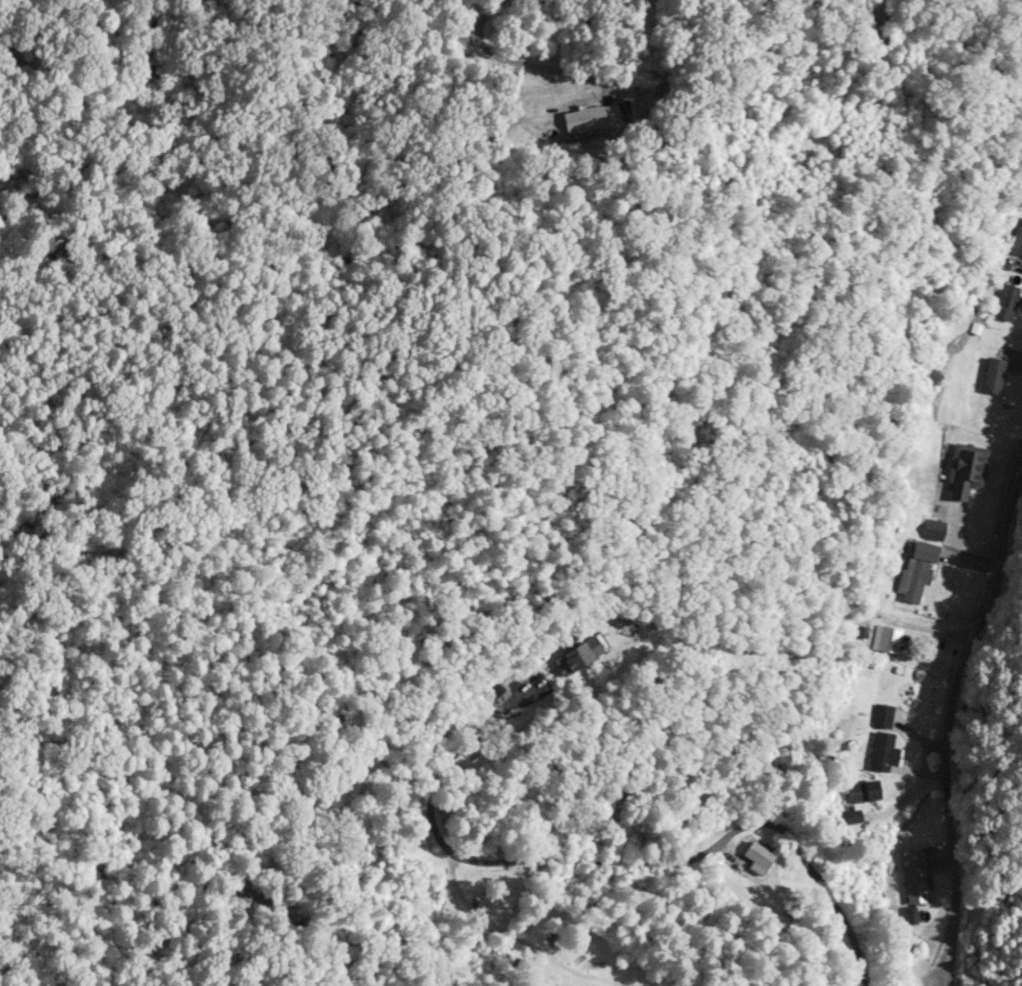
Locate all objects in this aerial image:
building: (592, 118)
building: (1017, 240)
building: (1004, 303)
building: (992, 377)
building: (966, 470)
building: (916, 570)
building: (889, 640)
building: (582, 655)
building: (881, 717)
road: (948, 720)
building: (882, 753)
building: (860, 793)
building: (847, 818)
road: (619, 858)
building: (756, 860)
building: (913, 877)

